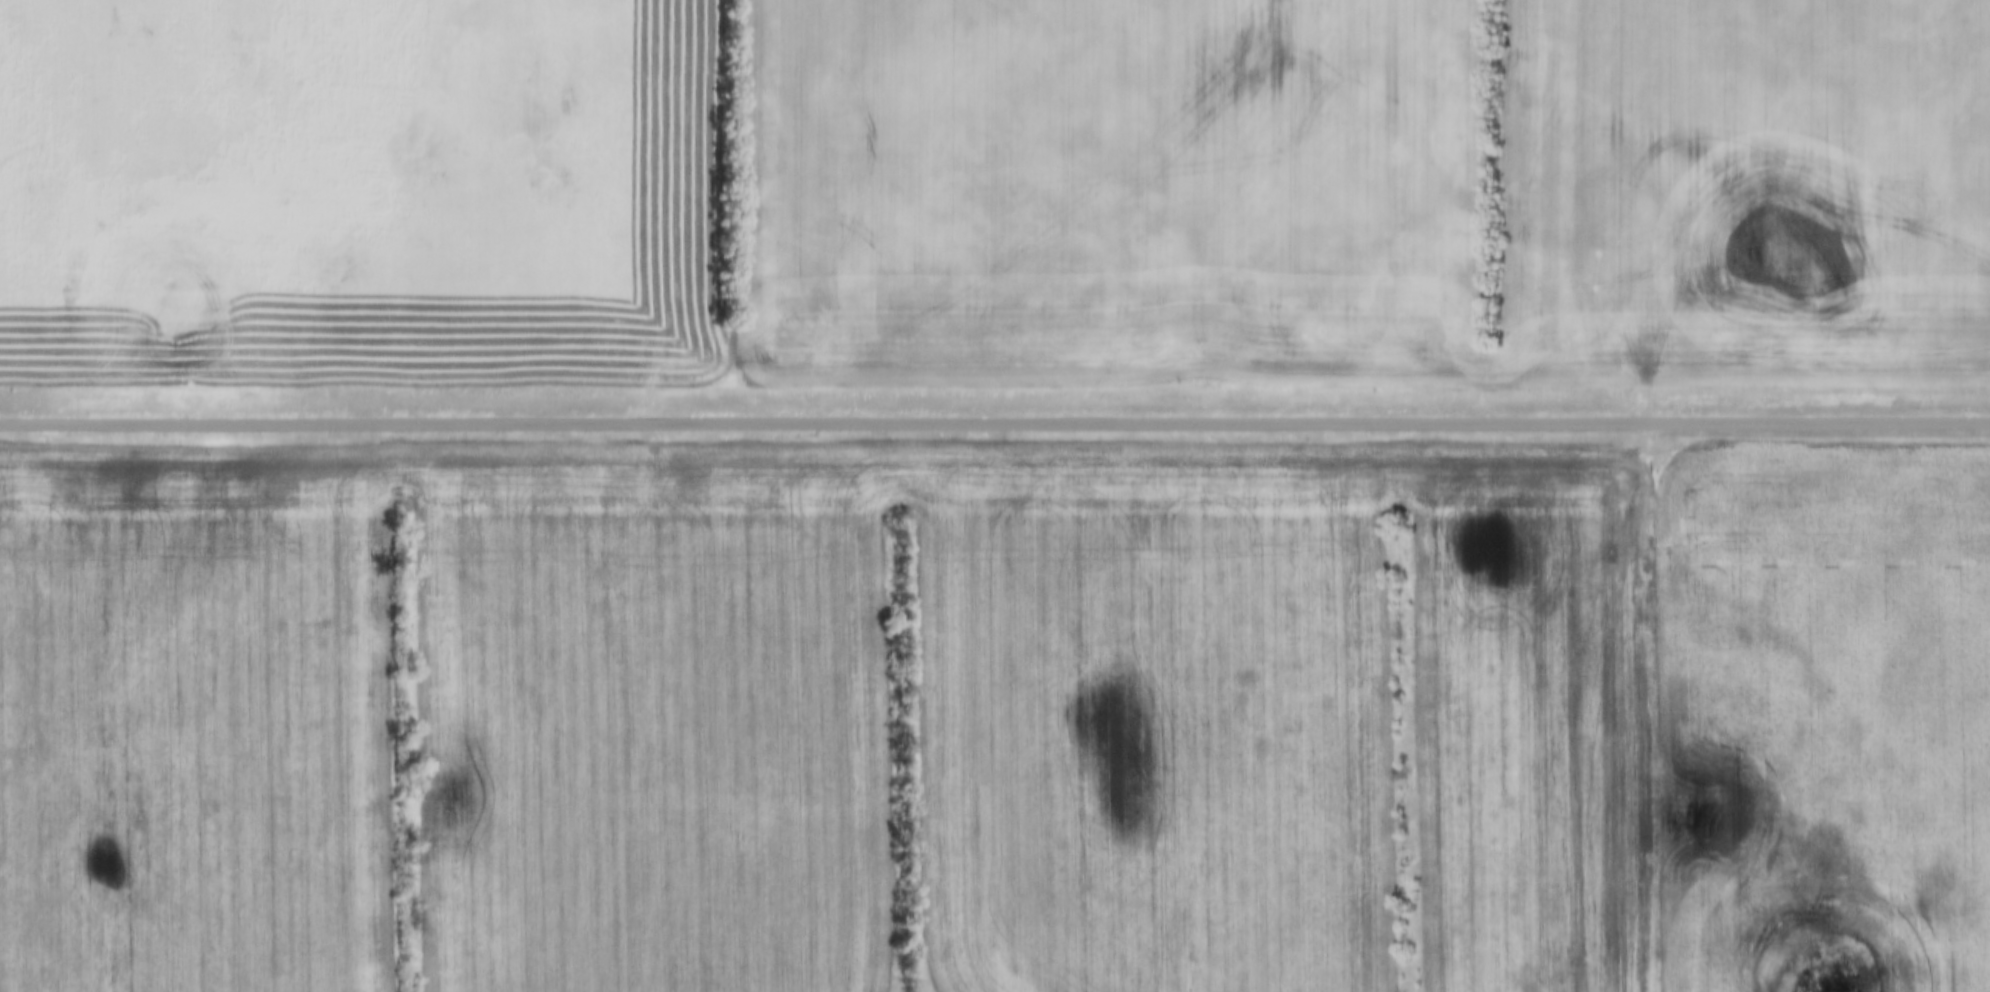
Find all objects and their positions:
road: (994, 421)

